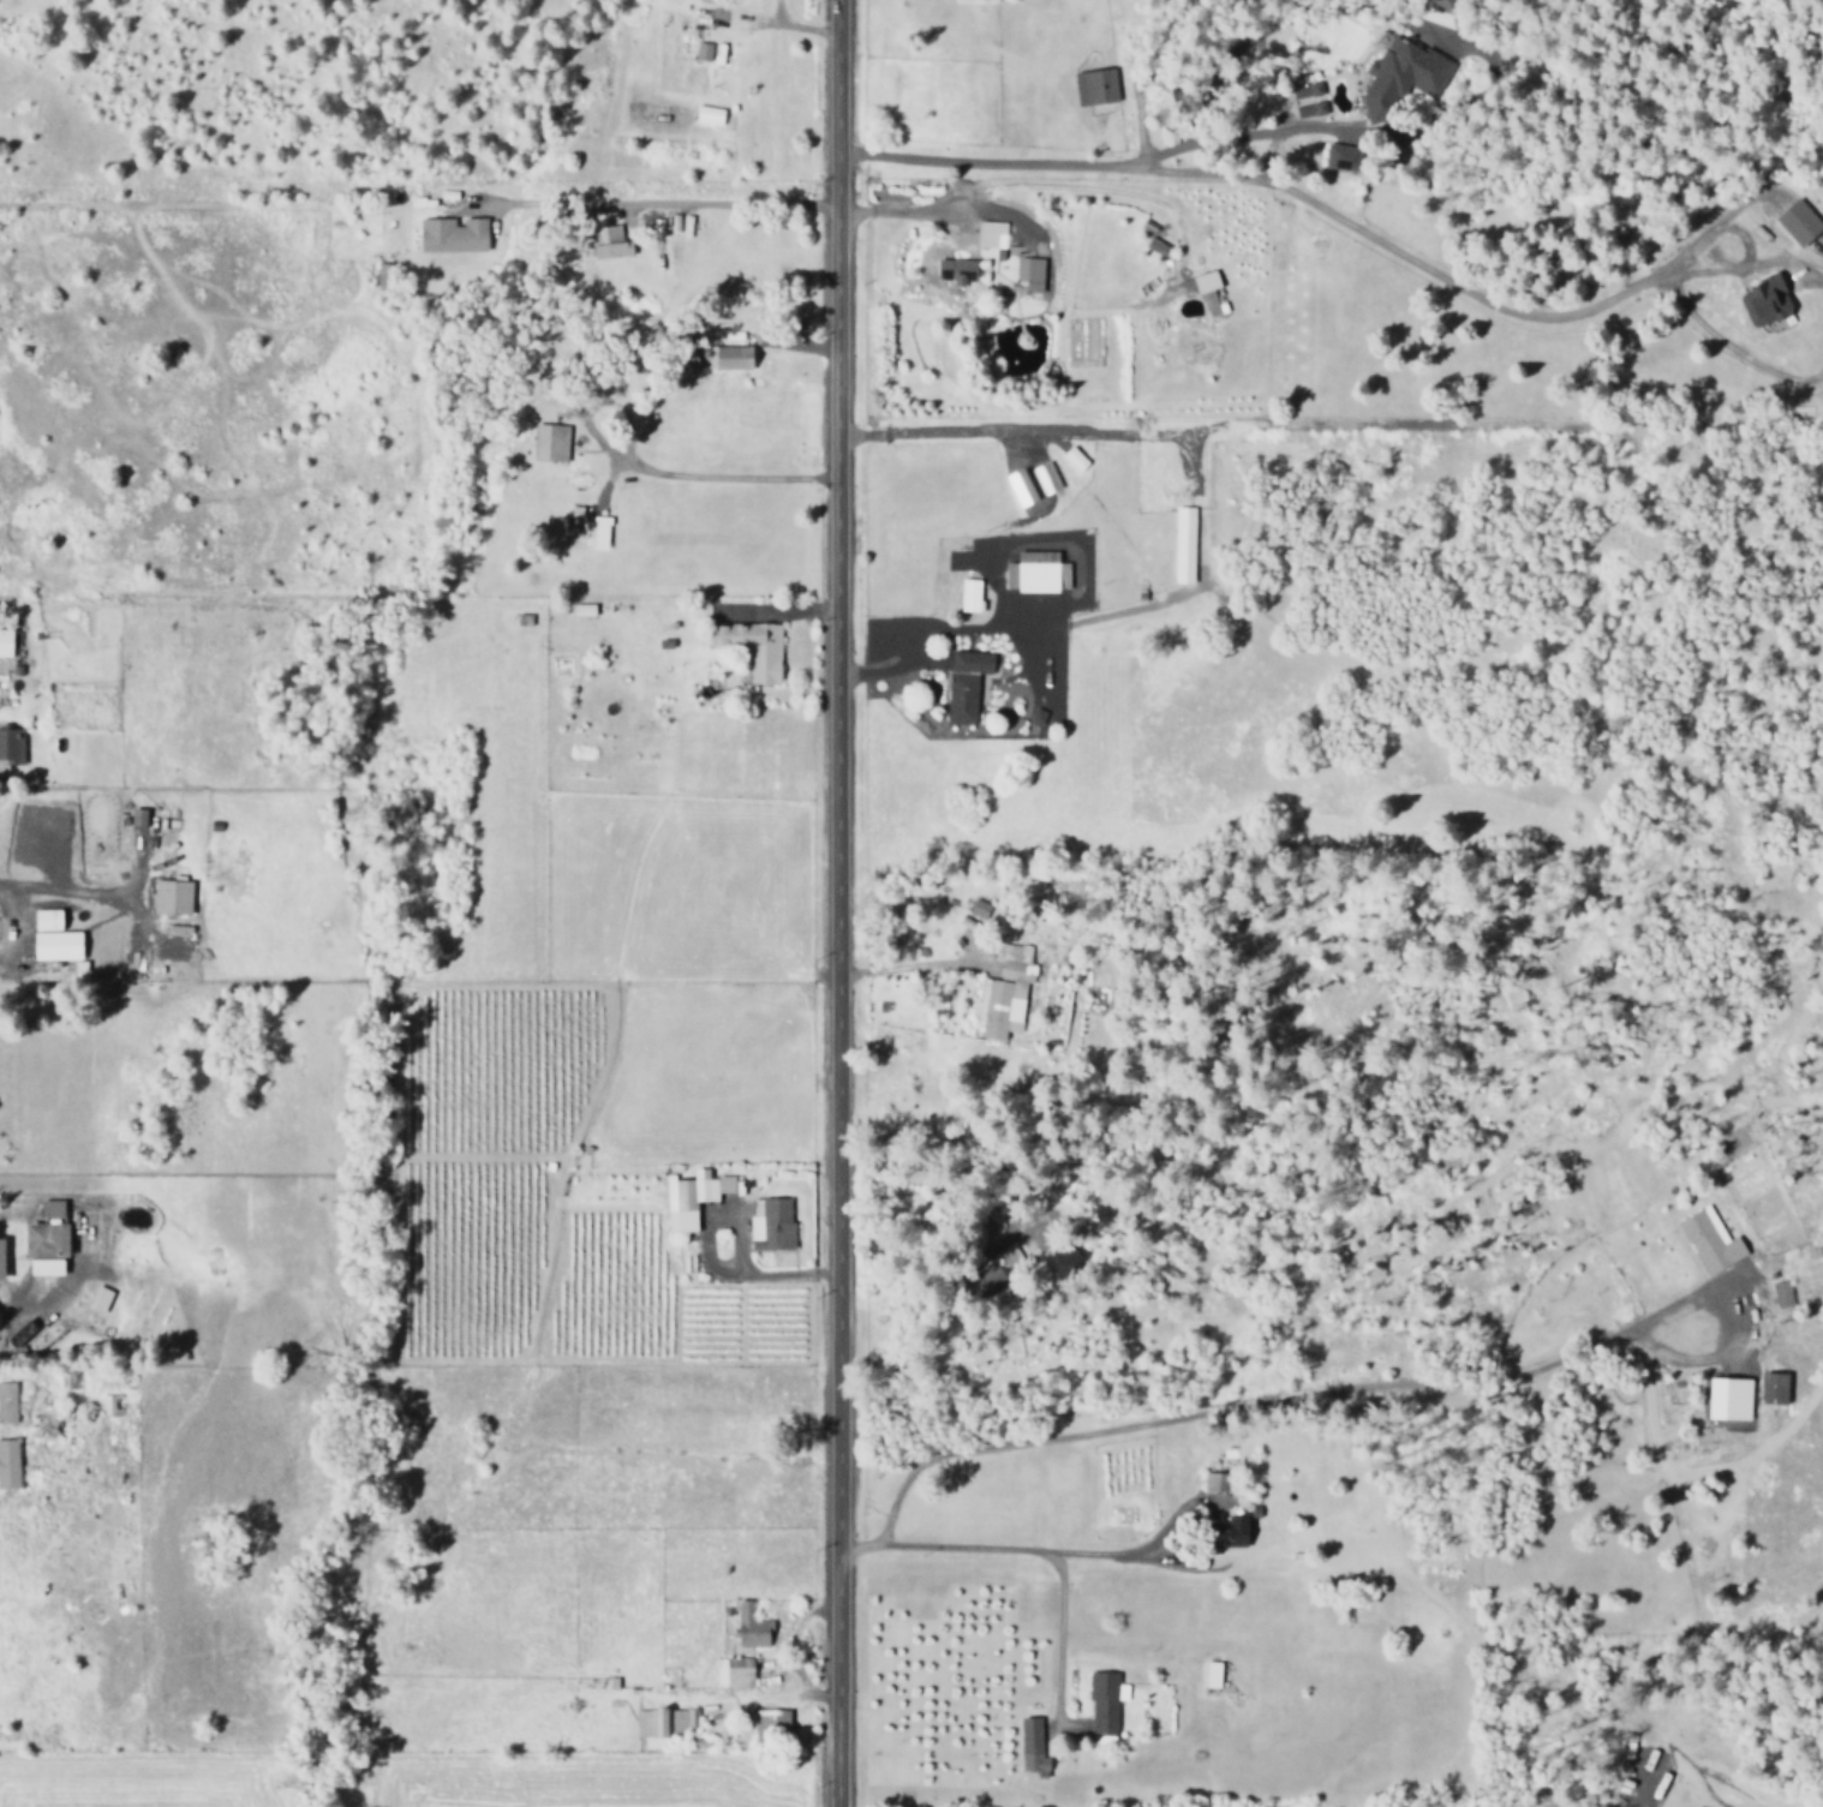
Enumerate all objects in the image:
building: (1430, 5)
building: (698, 50)
building: (1398, 73)
building: (1089, 86)
building: (1301, 90)
building: (1304, 109)
building: (703, 115)
building: (1333, 157)
road: (1333, 216)
building: (1792, 222)
building: (987, 234)
building: (455, 235)
building: (603, 241)
building: (951, 270)
building: (1023, 275)
building: (383, 277)
road: (1661, 286)
building: (1203, 293)
building: (1758, 299)
park: (600, 348)
building: (724, 358)
building: (544, 442)
building: (1069, 459)
building: (1041, 477)
building: (1014, 487)
building: (593, 533)
building: (1178, 544)
building: (1032, 572)
building: (964, 596)
building: (576, 610)
building: (7, 644)
building: (746, 647)
building: (960, 684)
building: (11, 746)
building: (166, 897)
road: (832, 903)
building: (56, 938)
building: (1000, 993)
building: (687, 1198)
building: (767, 1226)
building: (1705, 1240)
building: (41, 1241)
building: (1054, 1257)
building: (986, 1274)
building: (1771, 1296)
building: (94, 1299)
building: (17, 1334)
building: (1768, 1389)
building: (1722, 1400)
building: (4, 1402)
building: (108, 1405)
road: (1295, 1405)
building: (5, 1465)
building: (1208, 1483)
building: (1220, 1533)
road: (1033, 1551)
building: (745, 1627)
building: (734, 1673)
building: (1207, 1675)
building: (1099, 1704)
building: (764, 1723)
building: (1027, 1748)

